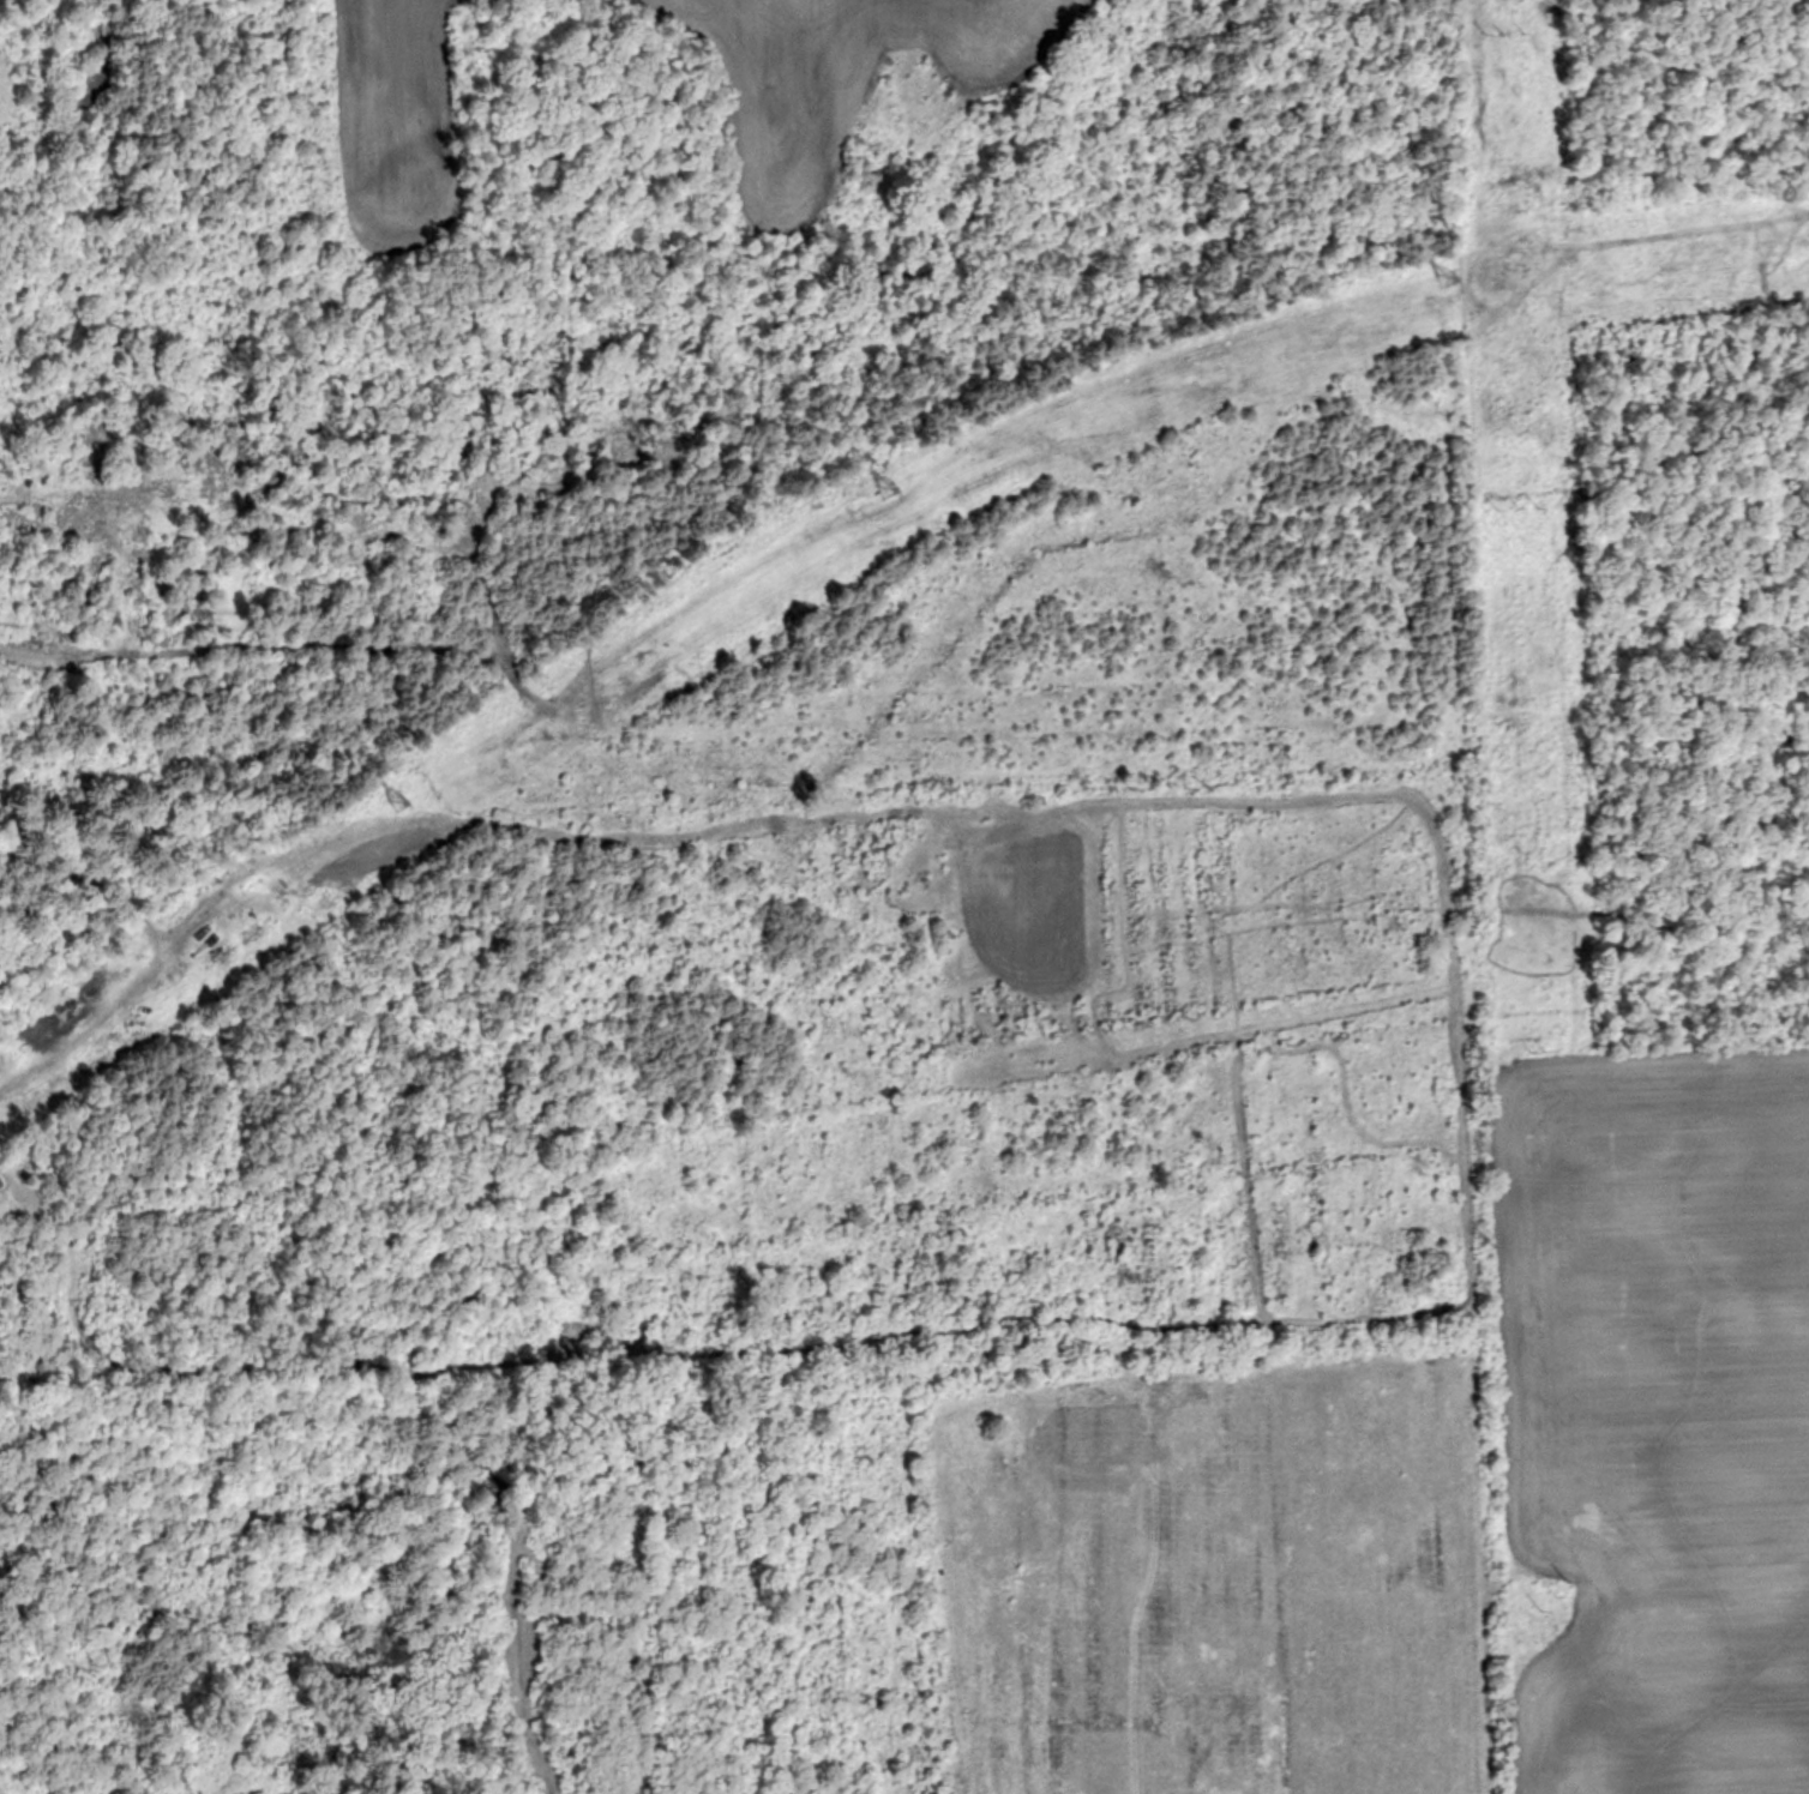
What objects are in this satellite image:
power tower: (1504, 29)
power tower: (1452, 278)
power tower: (894, 484)
power tower: (1525, 510)
power tower: (403, 800)
power tower: (1534, 1049)
power tower: (1550, 1591)

